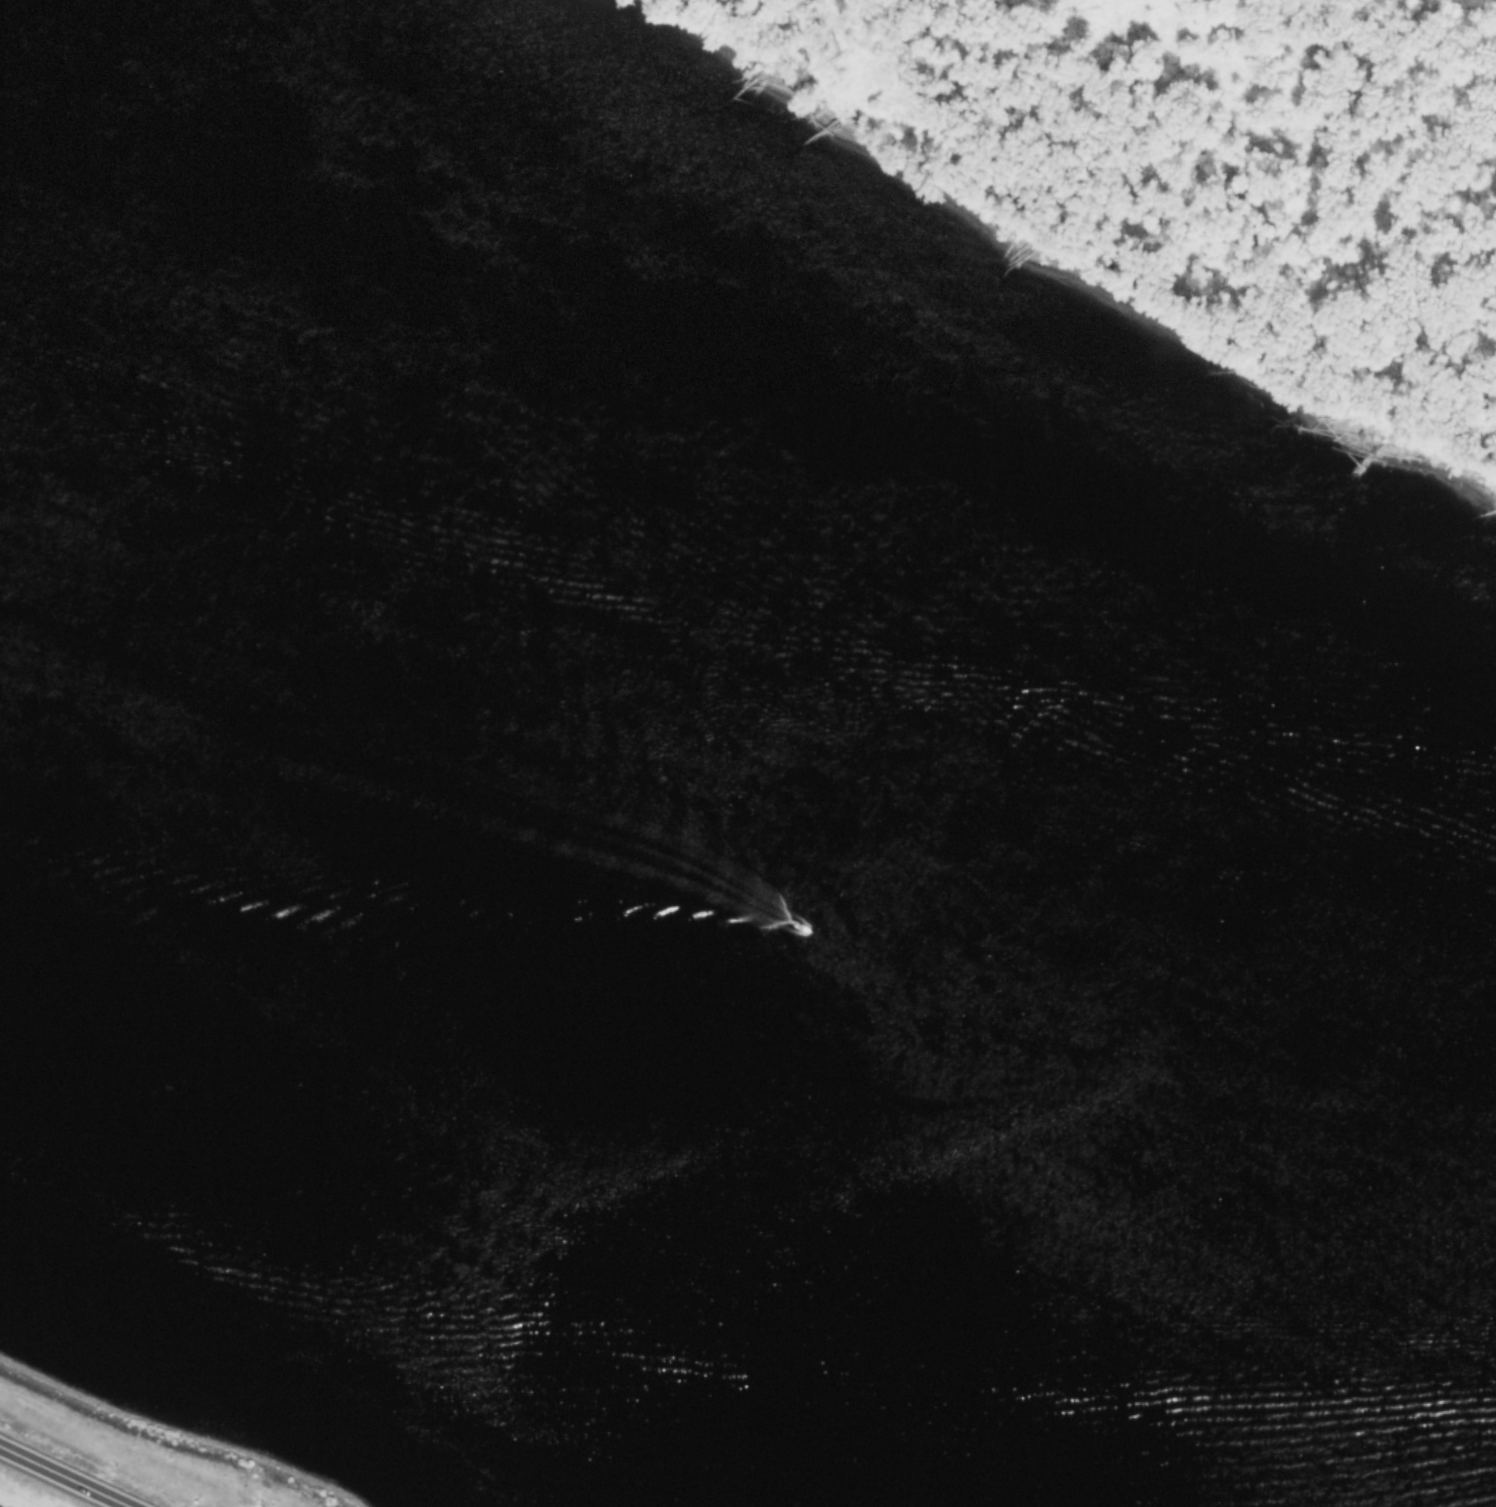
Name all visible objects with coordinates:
road: (64, 1476)

